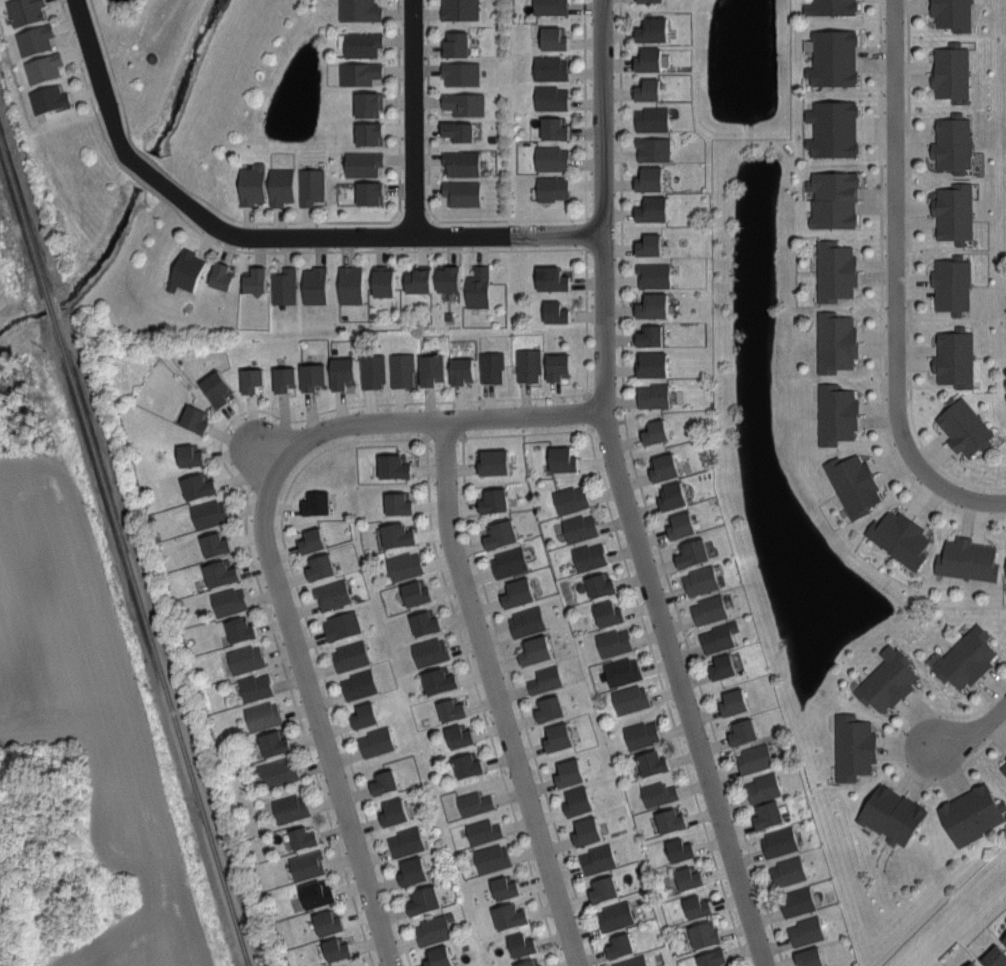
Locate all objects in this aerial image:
building: (651, 1)
building: (551, 7)
building: (832, 7)
building: (461, 9)
building: (360, 10)
building: (26, 11)
building: (953, 14)
building: (654, 30)
building: (554, 37)
building: (36, 39)
building: (363, 44)
building: (458, 44)
building: (153, 57)
building: (834, 58)
building: (650, 60)
building: (45, 67)
building: (551, 68)
building: (952, 72)
building: (360, 73)
building: (461, 73)
road: (99, 78)
park: (210, 79)
building: (649, 90)
building: (50, 98)
building: (552, 98)
building: (465, 103)
building: (368, 104)
road: (399, 108)
road: (585, 108)
road: (428, 112)
road: (412, 118)
building: (653, 119)
building: (555, 128)
building: (834, 129)
building: (460, 130)
building: (369, 133)
building: (953, 143)
building: (654, 149)
building: (552, 158)
building: (463, 163)
building: (363, 164)
road: (148, 171)
building: (651, 179)
building: (253, 185)
building: (283, 186)
building: (312, 186)
building: (553, 188)
road: (188, 190)
building: (370, 193)
building: (463, 193)
building: (835, 199)
building: (654, 209)
building: (955, 212)
road: (621, 213)
road: (509, 219)
road: (377, 236)
building: (650, 245)
road: (249, 252)
building: (836, 270)
building: (187, 271)
road: (910, 273)
building: (655, 274)
building: (222, 276)
building: (450, 278)
building: (553, 278)
building: (384, 280)
building: (420, 280)
building: (256, 281)
building: (351, 284)
building: (953, 284)
building: (316, 285)
road: (893, 285)
building: (285, 286)
building: (479, 287)
road: (881, 294)
building: (654, 306)
building: (557, 312)
road: (586, 322)
building: (650, 335)
building: (837, 342)
building: (956, 358)
building: (653, 363)
building: (529, 365)
building: (559, 366)
building: (492, 367)
building: (403, 369)
building: (373, 370)
building: (432, 370)
building: (462, 371)
building: (344, 372)
building: (314, 376)
building: (286, 378)
building: (252, 379)
building: (217, 388)
building: (654, 396)
building: (837, 414)
building: (196, 418)
road: (435, 419)
building: (965, 427)
road: (527, 432)
building: (656, 432)
road: (265, 454)
building: (190, 455)
building: (563, 459)
building: (494, 461)
building: (395, 466)
building: (664, 467)
building: (854, 484)
building: (199, 486)
road: (620, 492)
building: (673, 496)
building: (571, 499)
building: (494, 500)
building: (317, 503)
building: (400, 503)
building: (210, 513)
road: (246, 516)
building: (682, 525)
building: (581, 528)
building: (501, 534)
building: (398, 535)
building: (900, 537)
railway: (128, 538)
building: (313, 540)
building: (216, 544)
building: (693, 553)
building: (590, 556)
building: (969, 560)
building: (510, 562)
building: (1005, 565)
building: (405, 566)
building: (320, 567)
building: (222, 573)
building: (701, 580)
building: (601, 585)
building: (417, 592)
building: (519, 592)
building: (334, 594)
building: (230, 601)
building: (710, 609)
building: (610, 614)
building: (528, 621)
building: (426, 623)
building: (343, 625)
building: (241, 629)
building: (720, 637)
building: (614, 642)
road: (315, 649)
building: (536, 650)
building: (431, 651)
building: (352, 656)
building: (967, 658)
building: (246, 659)
building: (736, 661)
building: (724, 667)
building: (623, 671)
building: (440, 680)
building: (546, 680)
building: (888, 681)
building: (359, 684)
building: (256, 687)
road: (702, 693)
road: (496, 694)
road: (666, 698)
building: (631, 699)
road: (518, 702)
building: (735, 702)
road: (481, 704)
building: (550, 708)
building: (452, 709)
road: (314, 715)
building: (264, 716)
building: (365, 716)
building: (743, 732)
road: (973, 732)
building: (642, 734)
building: (461, 735)
building: (559, 737)
building: (377, 741)
building: (275, 744)
building: (854, 746)
road: (900, 752)
building: (755, 759)
building: (653, 762)
building: (469, 765)
building: (1004, 768)
building: (276, 772)
building: (571, 772)
building: (385, 782)
building: (1005, 783)
building: (764, 787)
building: (659, 793)
building: (579, 801)
building: (476, 803)
building: (291, 808)
building: (395, 812)
building: (893, 814)
building: (972, 814)
building: (768, 815)
building: (672, 820)
building: (484, 831)
building: (588, 832)
building: (304, 837)
building: (407, 842)
building: (780, 842)
building: (681, 850)
building: (492, 858)
building: (598, 859)
building: (308, 865)
building: (413, 871)
building: (789, 871)
building: (690, 877)
building: (505, 887)
building: (604, 889)
building: (318, 894)
building: (424, 900)
building: (799, 902)
building: (698, 907)
building: (510, 916)
building: (616, 916)
building: (329, 922)
building: (435, 929)
building: (807, 931)
building: (706, 935)
building: (1005, 938)
building: (523, 944)
building: (620, 946)
building: (338, 949)
building: (440, 957)
building: (811, 957)
building: (995, 957)
building: (714, 958)
building: (633, 962)
building: (531, 963)
building: (973, 964)
building: (351, 965)

